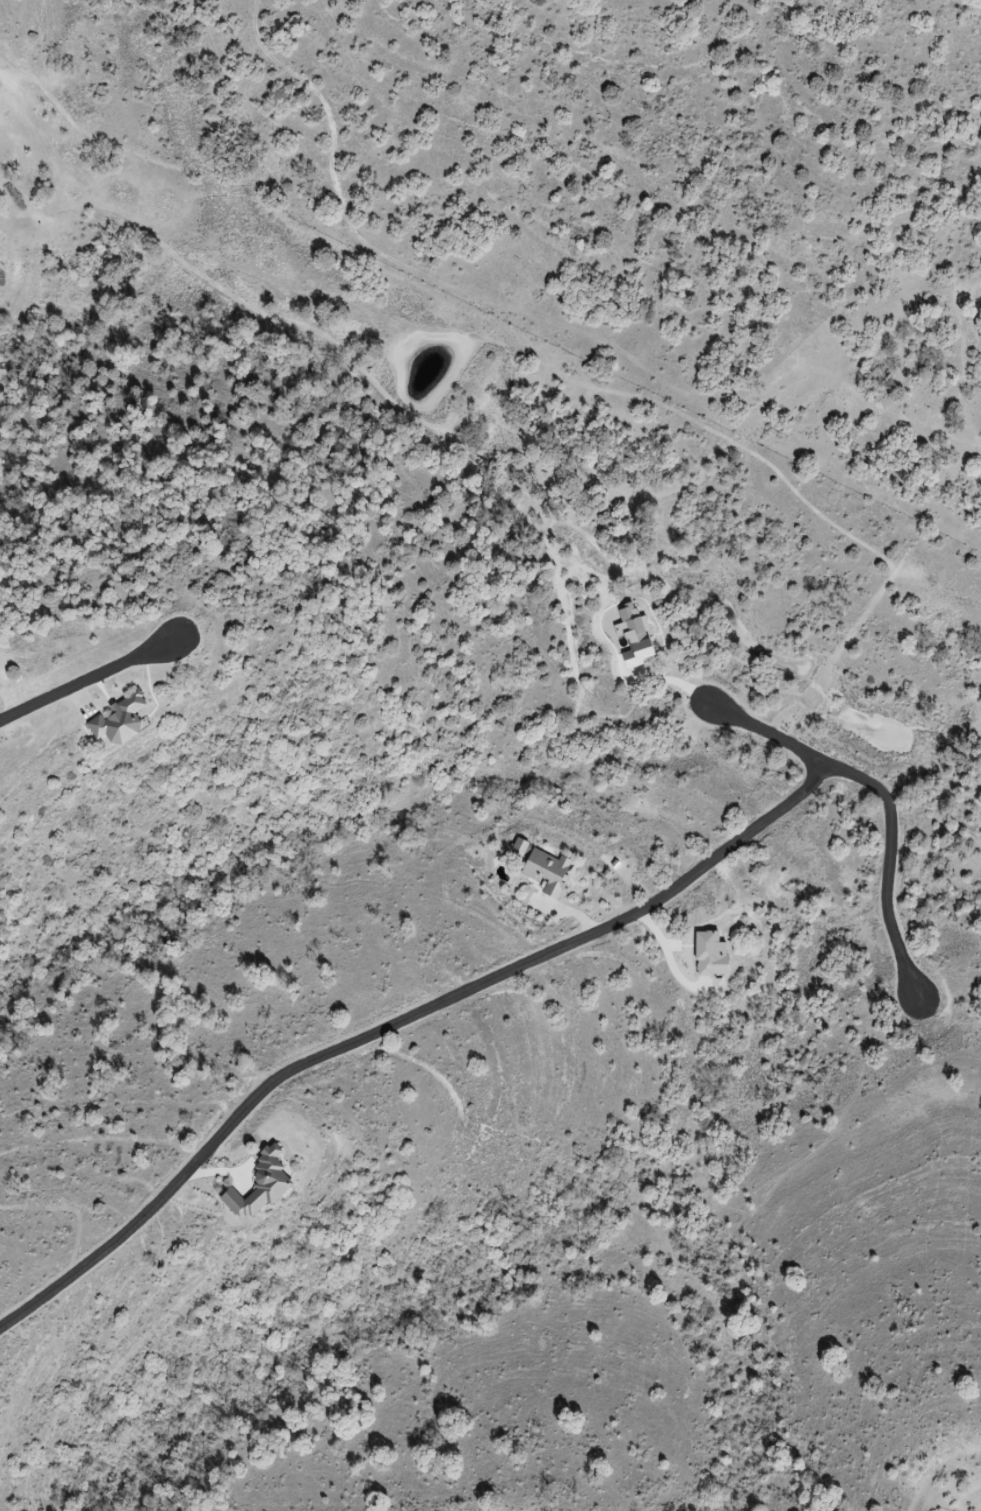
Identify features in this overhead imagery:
road: (97, 674)
building: (122, 720)
road: (888, 804)
building: (521, 847)
building: (550, 871)
road: (400, 1023)
building: (262, 1187)

